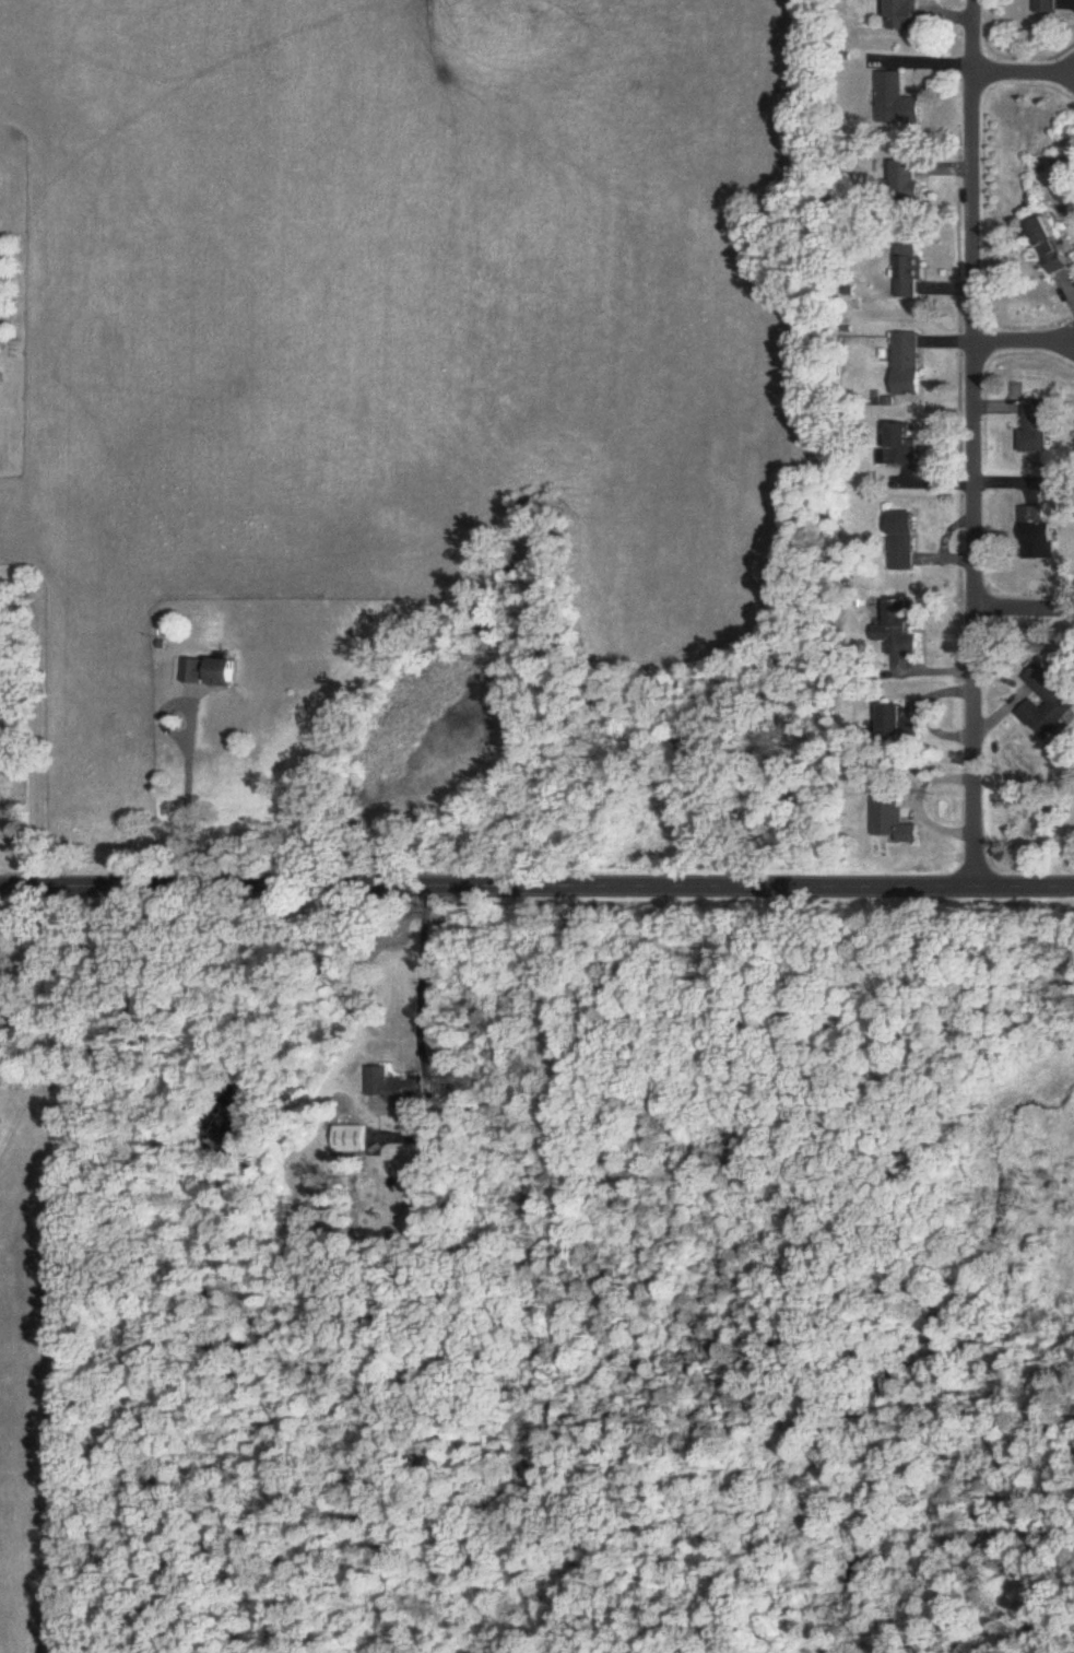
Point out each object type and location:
building: (1048, 7)
building: (906, 15)
road: (1026, 79)
building: (897, 102)
building: (910, 190)
building: (1051, 246)
building: (909, 274)
road: (1024, 348)
building: (907, 367)
building: (1036, 427)
building: (902, 445)
road: (975, 445)
building: (1038, 535)
building: (902, 537)
road: (1024, 611)
building: (900, 630)
building: (212, 672)
building: (1046, 703)
road: (37, 724)
building: (900, 724)
road: (185, 797)
building: (894, 823)
road: (536, 882)
road: (420, 974)
building: (397, 1090)
building: (352, 1139)

